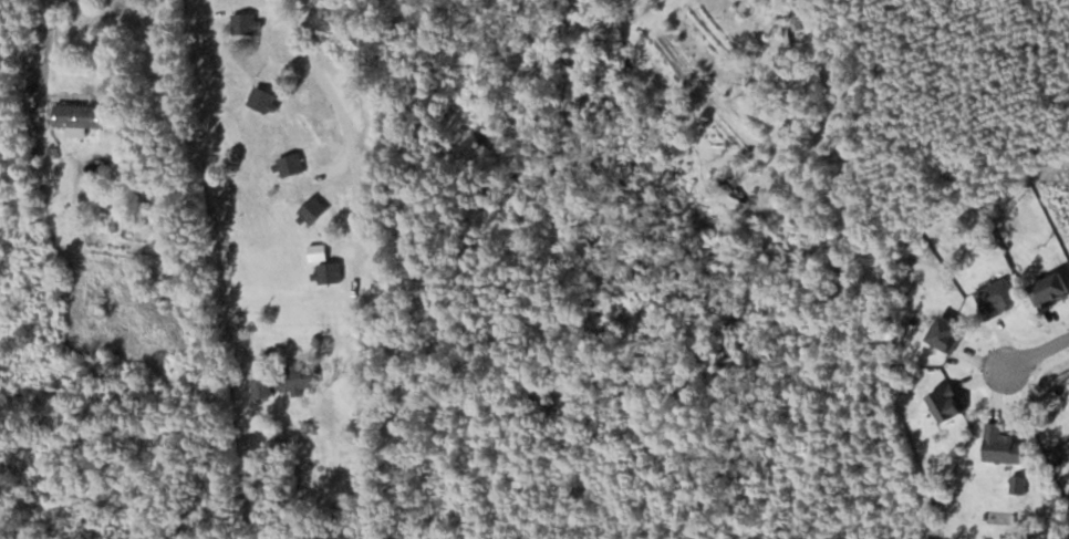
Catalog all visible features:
building: (246, 22)
road: (48, 45)
building: (263, 100)
building: (79, 115)
building: (291, 164)
building: (313, 209)
road: (357, 261)
building: (330, 271)
road: (1038, 351)
building: (297, 374)
building: (263, 387)

